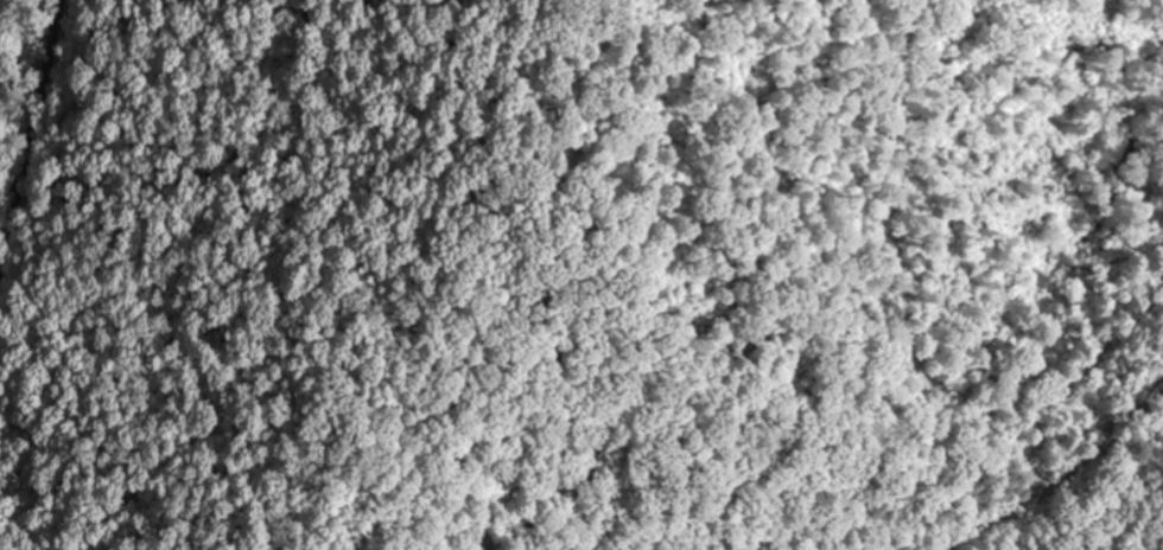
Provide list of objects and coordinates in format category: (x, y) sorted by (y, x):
road: (33, 132)

